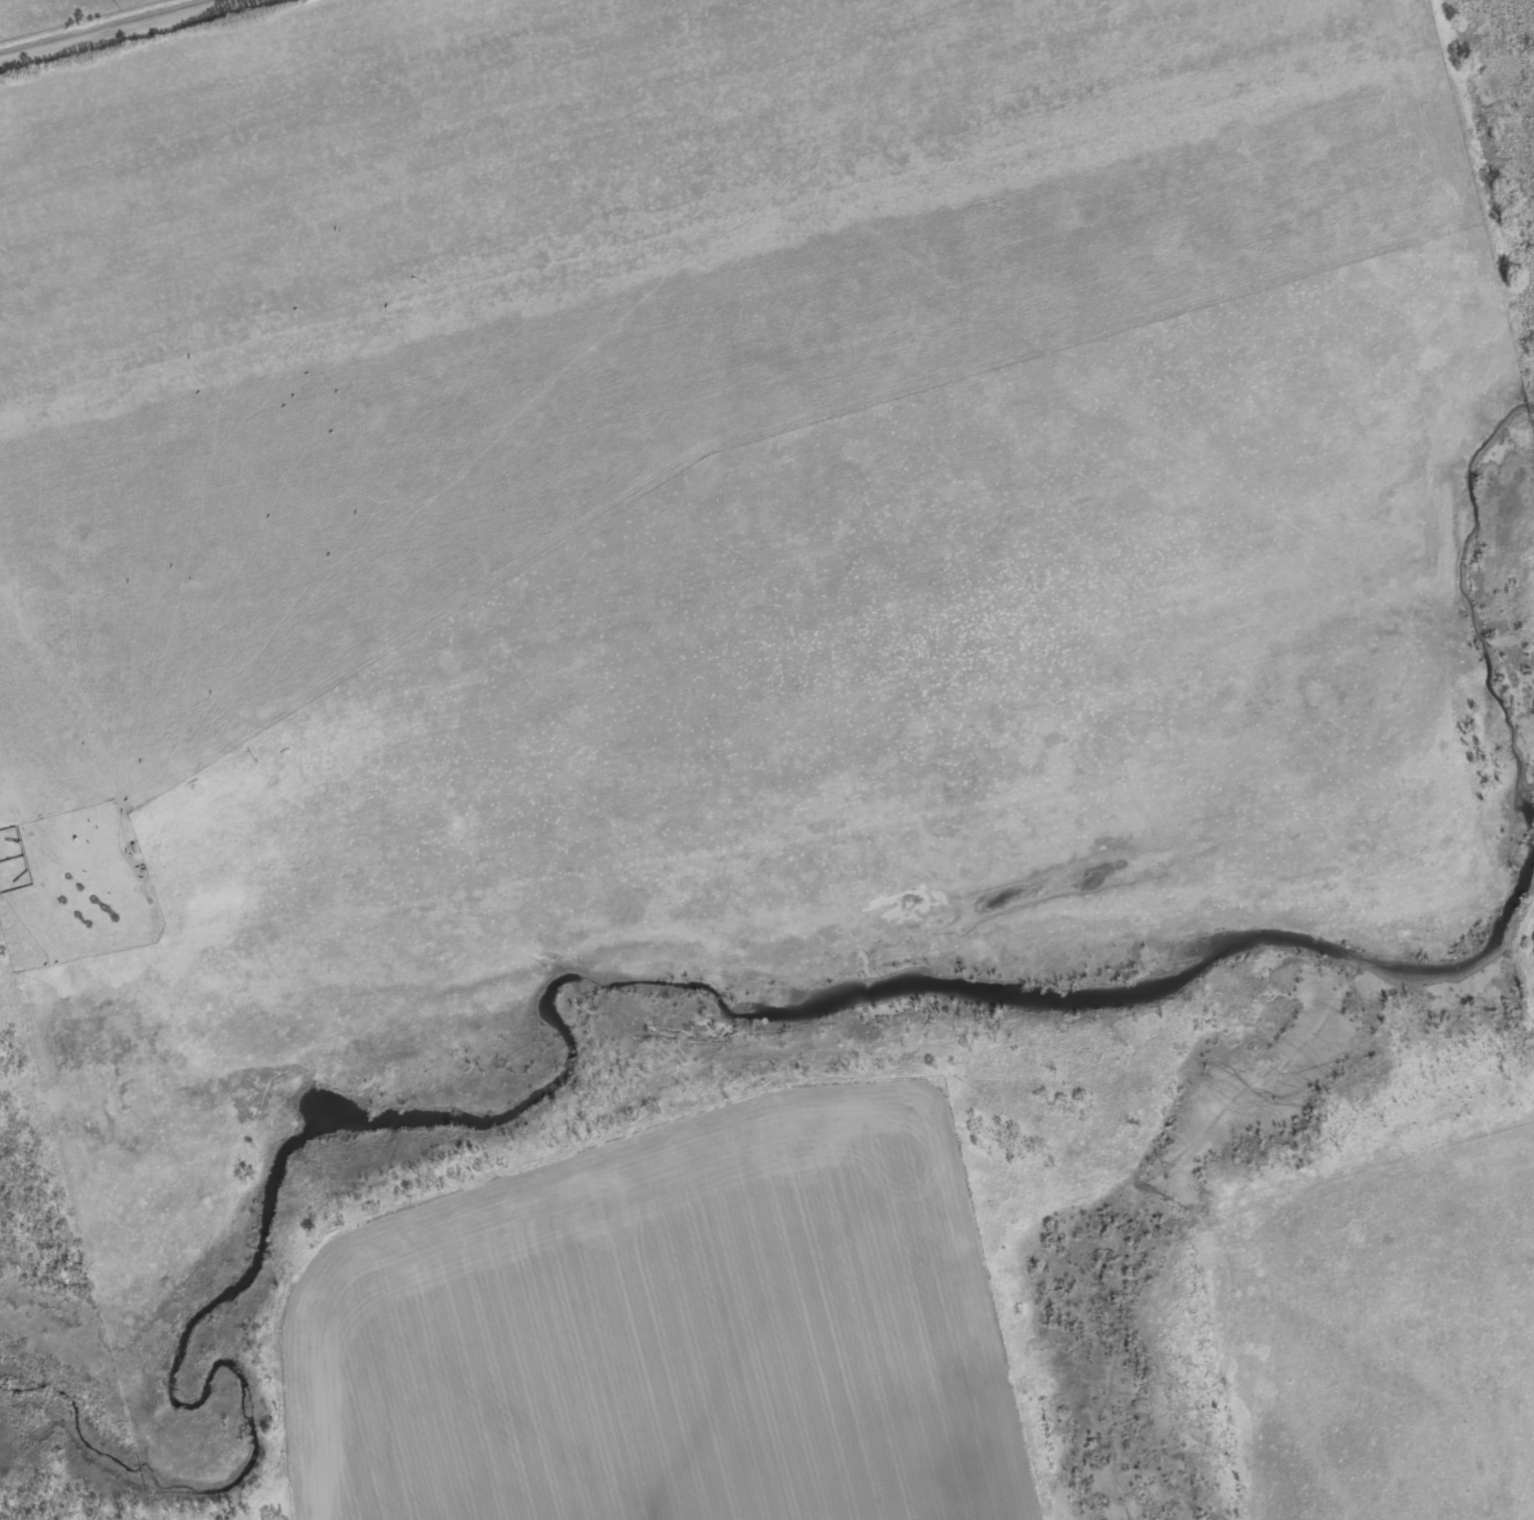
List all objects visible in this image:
road: (121, 31)

